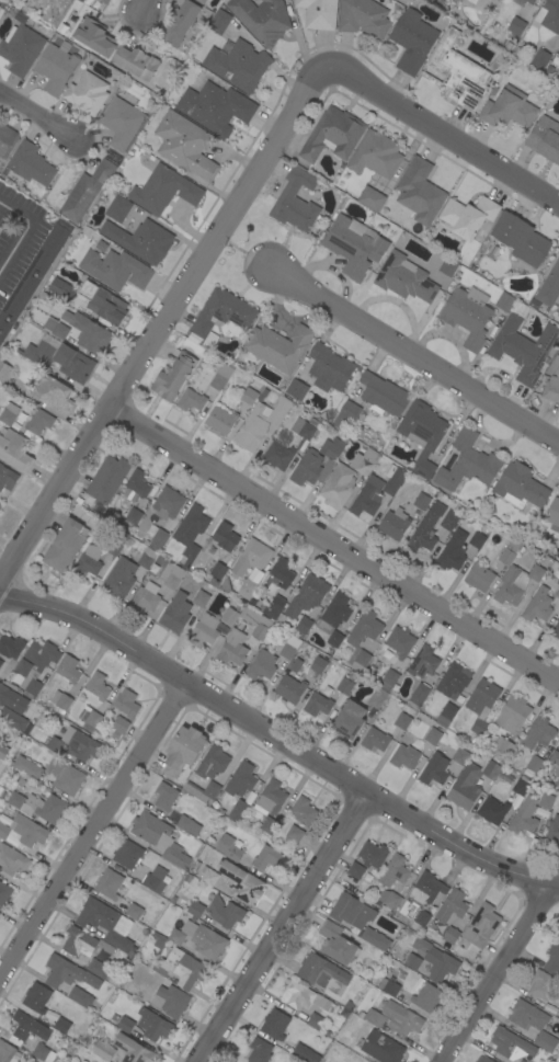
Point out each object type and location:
building: (105, 1)
building: (202, 1)
building: (531, 1)
road: (145, 5)
building: (318, 13)
building: (548, 15)
building: (363, 18)
building: (261, 19)
building: (181, 22)
building: (219, 22)
building: (516, 25)
building: (95, 36)
building: (412, 41)
building: (21, 45)
building: (558, 52)
building: (558, 54)
building: (540, 58)
building: (136, 61)
building: (237, 64)
building: (56, 67)
building: (459, 71)
building: (87, 93)
building: (215, 107)
building: (507, 109)
road: (37, 114)
building: (121, 122)
road: (444, 132)
building: (332, 135)
building: (545, 138)
building: (7, 139)
building: (184, 145)
building: (376, 155)
building: (31, 163)
building: (163, 190)
building: (87, 191)
building: (419, 191)
building: (294, 198)
building: (370, 198)
building: (117, 208)
building: (468, 216)
road: (24, 231)
building: (140, 239)
building: (520, 239)
building: (353, 244)
building: (101, 247)
building: (447, 266)
building: (115, 269)
building: (404, 278)
building: (31, 279)
building: (549, 286)
building: (61, 289)
building: (505, 301)
building: (103, 302)
building: (535, 304)
building: (223, 312)
building: (467, 315)
road: (162, 321)
building: (56, 328)
building: (88, 332)
building: (278, 346)
building: (522, 347)
building: (39, 353)
road: (414, 354)
building: (73, 363)
building: (555, 365)
building: (329, 367)
building: (3, 370)
building: (221, 376)
building: (173, 377)
building: (296, 389)
building: (551, 389)
building: (264, 392)
building: (55, 393)
building: (383, 395)
building: (249, 396)
building: (191, 400)
building: (9, 413)
building: (345, 415)
building: (220, 420)
building: (38, 422)
building: (260, 422)
building: (303, 429)
building: (422, 433)
building: (332, 447)
building: (14, 450)
building: (277, 455)
building: (364, 461)
building: (467, 463)
building: (310, 468)
building: (7, 478)
building: (393, 479)
building: (106, 481)
building: (136, 486)
building: (338, 486)
building: (520, 486)
building: (367, 499)
building: (421, 502)
building: (167, 503)
building: (0, 505)
building: (552, 512)
building: (132, 517)
building: (448, 521)
building: (393, 524)
building: (426, 528)
building: (190, 532)
building: (225, 536)
building: (157, 537)
building: (477, 539)
road: (334, 541)
building: (116, 544)
building: (65, 545)
building: (453, 551)
building: (509, 551)
building: (146, 557)
building: (251, 557)
building: (88, 561)
building: (282, 571)
building: (536, 572)
building: (173, 576)
building: (220, 576)
building: (479, 576)
building: (119, 578)
building: (511, 585)
building: (247, 589)
building: (557, 593)
building: (307, 595)
building: (146, 596)
building: (199, 598)
building: (538, 605)
building: (274, 607)
building: (334, 613)
building: (173, 616)
building: (229, 616)
building: (256, 621)
building: (304, 625)
building: (364, 628)
building: (204, 630)
building: (556, 630)
building: (334, 639)
building: (400, 641)
building: (11, 646)
building: (289, 647)
building: (231, 649)
building: (360, 660)
building: (1, 662)
building: (423, 662)
building: (318, 664)
building: (35, 665)
building: (262, 665)
building: (296, 665)
building: (68, 669)
building: (390, 676)
building: (453, 680)
building: (96, 686)
building: (344, 686)
building: (289, 689)
building: (419, 694)
building: (480, 696)
building: (377, 697)
building: (12, 699)
building: (60, 700)
building: (126, 703)
building: (317, 705)
building: (512, 713)
building: (446, 715)
building: (89, 718)
building: (12, 719)
building: (349, 719)
building: (402, 720)
building: (478, 727)
building: (117, 728)
building: (538, 732)
building: (432, 735)
building: (375, 739)
road: (278, 740)
building: (475, 742)
building: (73, 744)
building: (503, 746)
building: (183, 750)
building: (3, 751)
building: (404, 756)
building: (459, 756)
building: (556, 761)
building: (213, 762)
building: (535, 764)
building: (27, 767)
building: (434, 769)
building: (491, 769)
building: (65, 776)
building: (241, 779)
building: (557, 783)
building: (521, 785)
building: (465, 787)
building: (558, 789)
building: (203, 791)
building: (164, 796)
building: (270, 798)
building: (545, 801)
building: (38, 806)
building: (238, 810)
building: (492, 810)
building: (304, 811)
building: (524, 817)
road: (91, 825)
building: (187, 825)
building: (269, 825)
building: (22, 831)
building: (552, 832)
building: (295, 833)
building: (159, 837)
building: (228, 847)
building: (127, 854)
building: (372, 854)
building: (266, 857)
building: (12, 860)
building: (355, 870)
building: (393, 871)
building: (155, 879)
building: (210, 879)
building: (241, 882)
building: (109, 883)
building: (4, 893)
building: (389, 899)
building: (421, 900)
building: (452, 905)
building: (195, 909)
building: (134, 911)
building: (352, 912)
building: (225, 913)
building: (107, 924)
building: (481, 926)
road: (281, 928)
building: (450, 935)
building: (558, 935)
building: (175, 936)
building: (375, 938)
building: (159, 940)
building: (83, 943)
building: (209, 944)
building: (336, 944)
building: (552, 958)
building: (436, 960)
building: (412, 961)
building: (98, 968)
building: (182, 968)
building: (322, 972)
road: (493, 972)
building: (67, 973)
building: (540, 984)
building: (388, 985)
building: (36, 997)
building: (80, 997)
building: (306, 997)
building: (426, 997)
building: (170, 1001)
building: (558, 1014)
building: (374, 1017)
building: (401, 1018)
building: (315, 1020)
building: (533, 1023)
building: (275, 1024)
building: (61, 1025)
building: (125, 1025)
building: (152, 1025)
building: (26, 1028)
building: (510, 1043)
building: (381, 1047)
building: (133, 1049)
building: (103, 1050)
building: (259, 1050)
building: (8, 1052)
building: (43, 1053)
building: (305, 1053)
building: (483, 1059)
building: (522, 1061)

